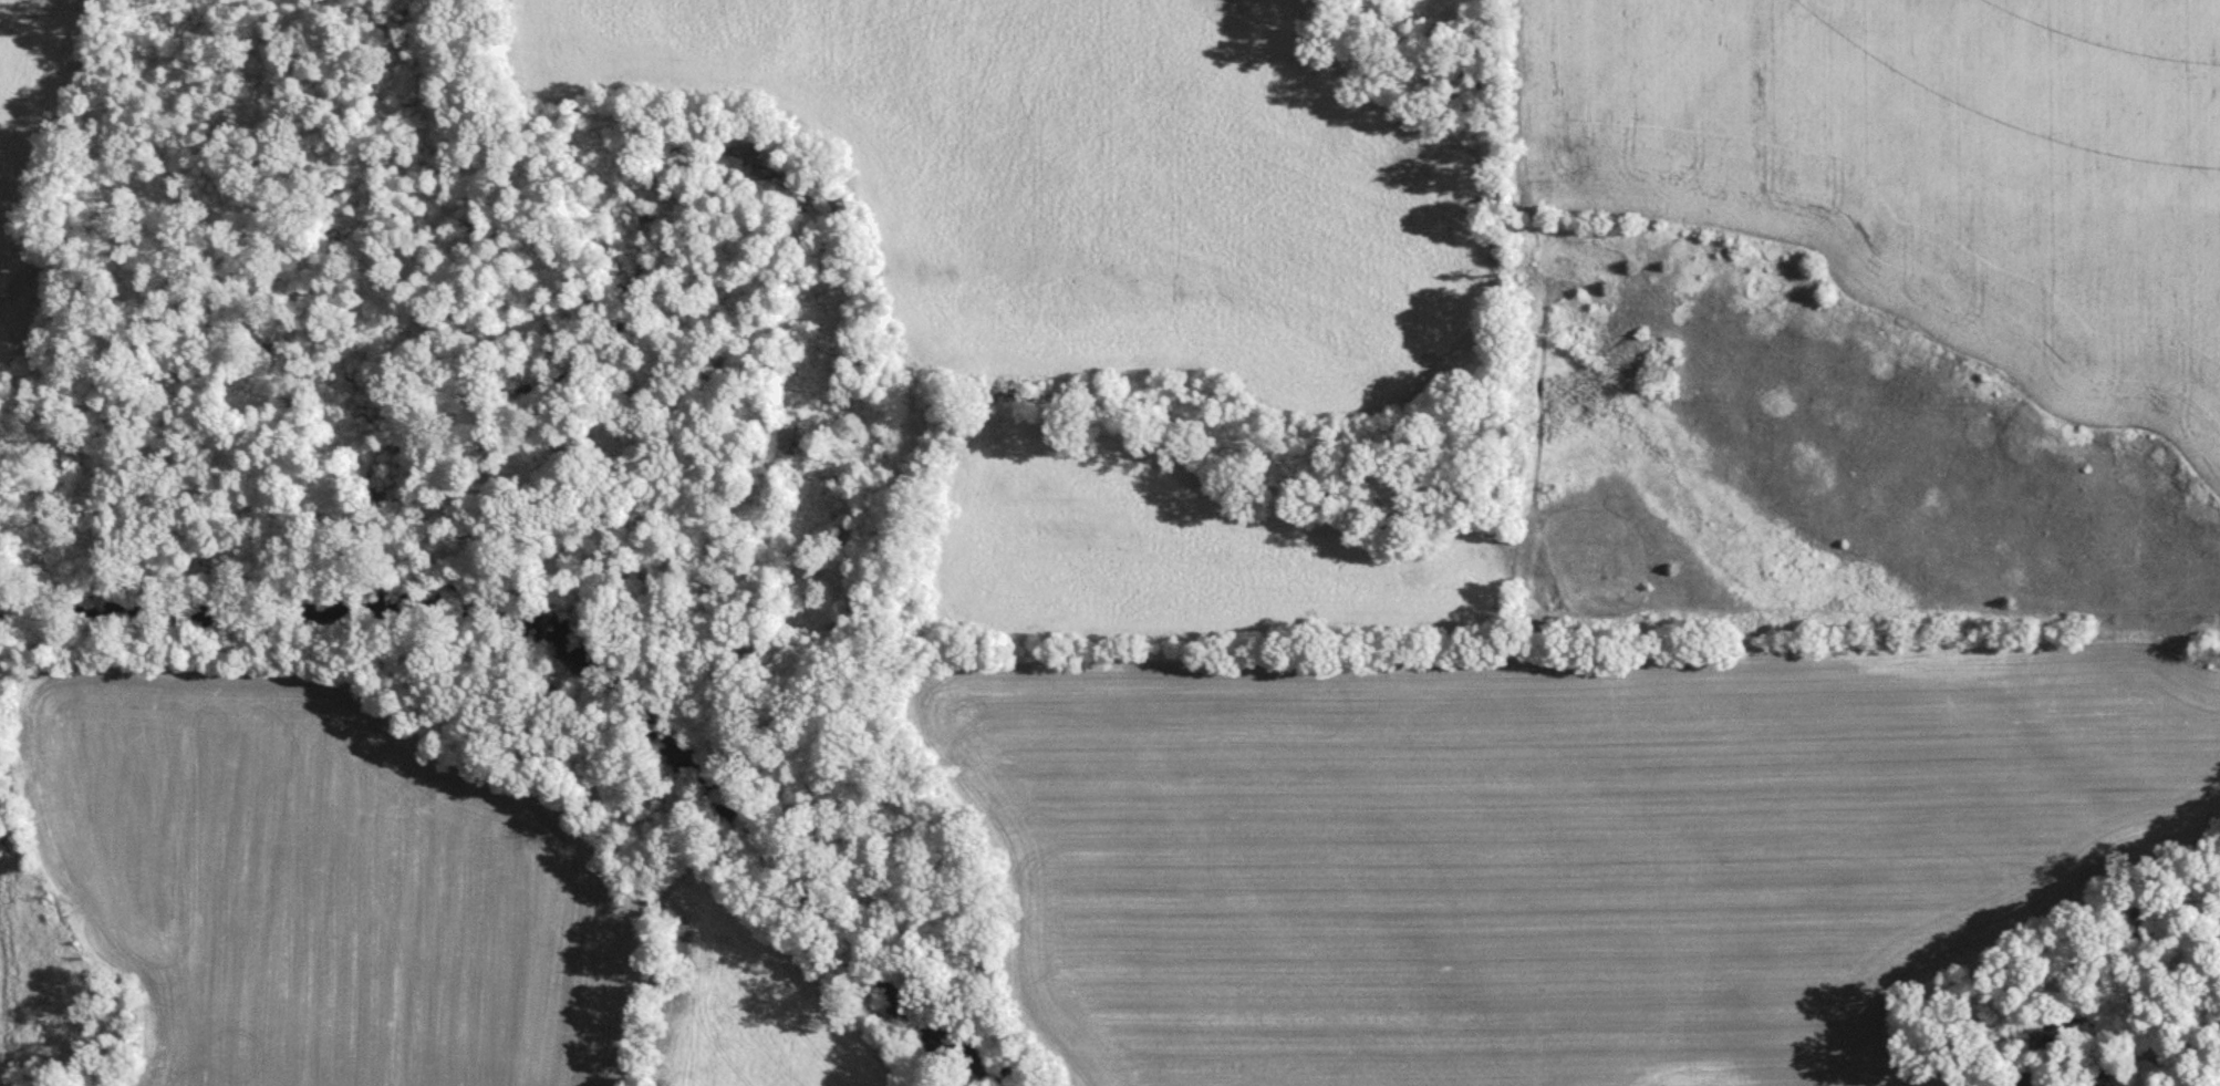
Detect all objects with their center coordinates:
river: (583, 662)

